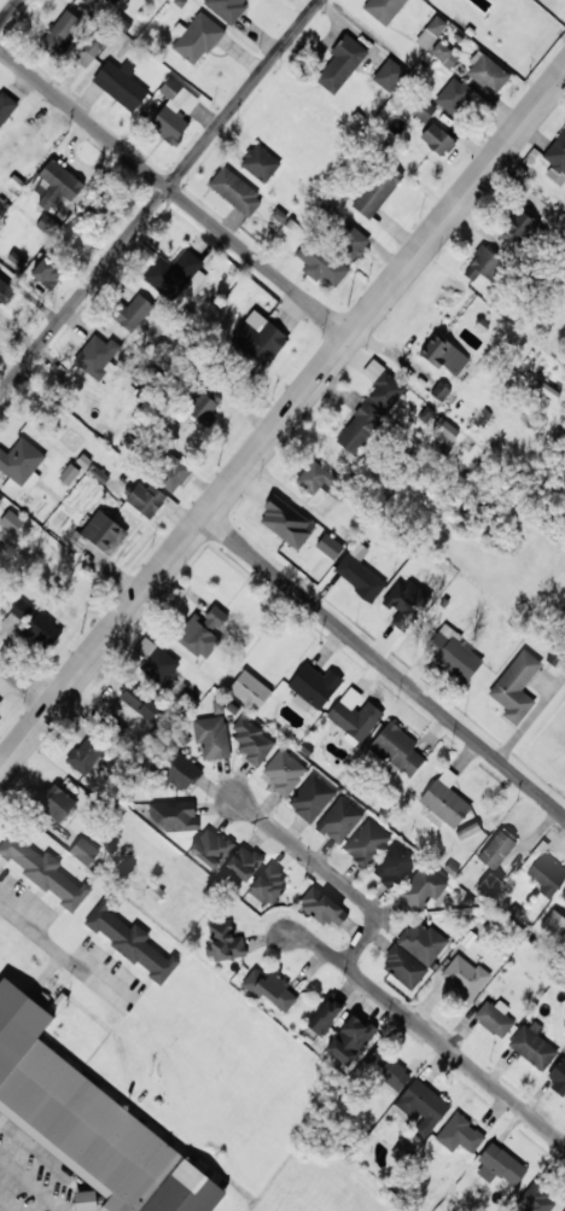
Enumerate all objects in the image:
building: (427, 0)
building: (95, 4)
building: (226, 8)
building: (383, 8)
road: (8, 11)
building: (59, 31)
building: (431, 31)
building: (197, 39)
building: (88, 51)
building: (443, 54)
building: (340, 63)
building: (487, 72)
building: (389, 75)
building: (121, 85)
building: (454, 95)
building: (5, 110)
building: (423, 110)
building: (174, 111)
building: (436, 138)
building: (557, 158)
building: (260, 162)
building: (56, 184)
building: (235, 191)
building: (377, 191)
road: (174, 192)
road: (159, 197)
building: (106, 206)
building: (46, 223)
building: (522, 226)
building: (349, 241)
building: (16, 260)
building: (320, 262)
building: (482, 264)
building: (46, 272)
building: (175, 274)
building: (5, 292)
building: (132, 312)
building: (258, 337)
building: (443, 354)
building: (97, 356)
building: (383, 386)
building: (548, 390)
building: (439, 391)
building: (204, 404)
building: (480, 417)
road: (282, 418)
building: (359, 427)
building: (445, 429)
building: (19, 466)
building: (69, 473)
building: (173, 473)
building: (314, 478)
building: (336, 493)
building: (0, 497)
building: (145, 499)
building: (11, 520)
building: (285, 522)
building: (100, 530)
building: (330, 546)
building: (359, 572)
building: (404, 602)
building: (16, 616)
building: (41, 631)
building: (202, 631)
building: (452, 652)
building: (156, 660)
road: (384, 663)
road: (25, 681)
building: (516, 686)
building: (313, 687)
building: (250, 689)
building: (139, 701)
building: (0, 703)
building: (353, 715)
building: (211, 737)
building: (251, 741)
building: (397, 749)
building: (85, 752)
building: (390, 768)
building: (177, 770)
building: (282, 772)
building: (311, 798)
building: (444, 800)
building: (54, 802)
building: (174, 815)
building: (339, 820)
building: (366, 843)
building: (210, 848)
building: (497, 849)
building: (85, 850)
building: (240, 866)
building: (394, 866)
building: (43, 871)
road: (327, 873)
building: (547, 874)
building: (268, 884)
building: (489, 884)
building: (421, 886)
building: (563, 895)
building: (324, 908)
building: (554, 924)
road: (313, 939)
building: (129, 941)
building: (421, 941)
building: (223, 942)
building: (403, 966)
building: (465, 977)
building: (269, 988)
building: (325, 1015)
building: (495, 1017)
building: (350, 1040)
building: (532, 1044)
road: (454, 1053)
building: (386, 1070)
building: (558, 1075)
building: (421, 1106)
building: (89, 1122)
building: (459, 1134)
building: (499, 1165)
building: (536, 1199)
building: (86, 1200)
building: (564, 1210)

